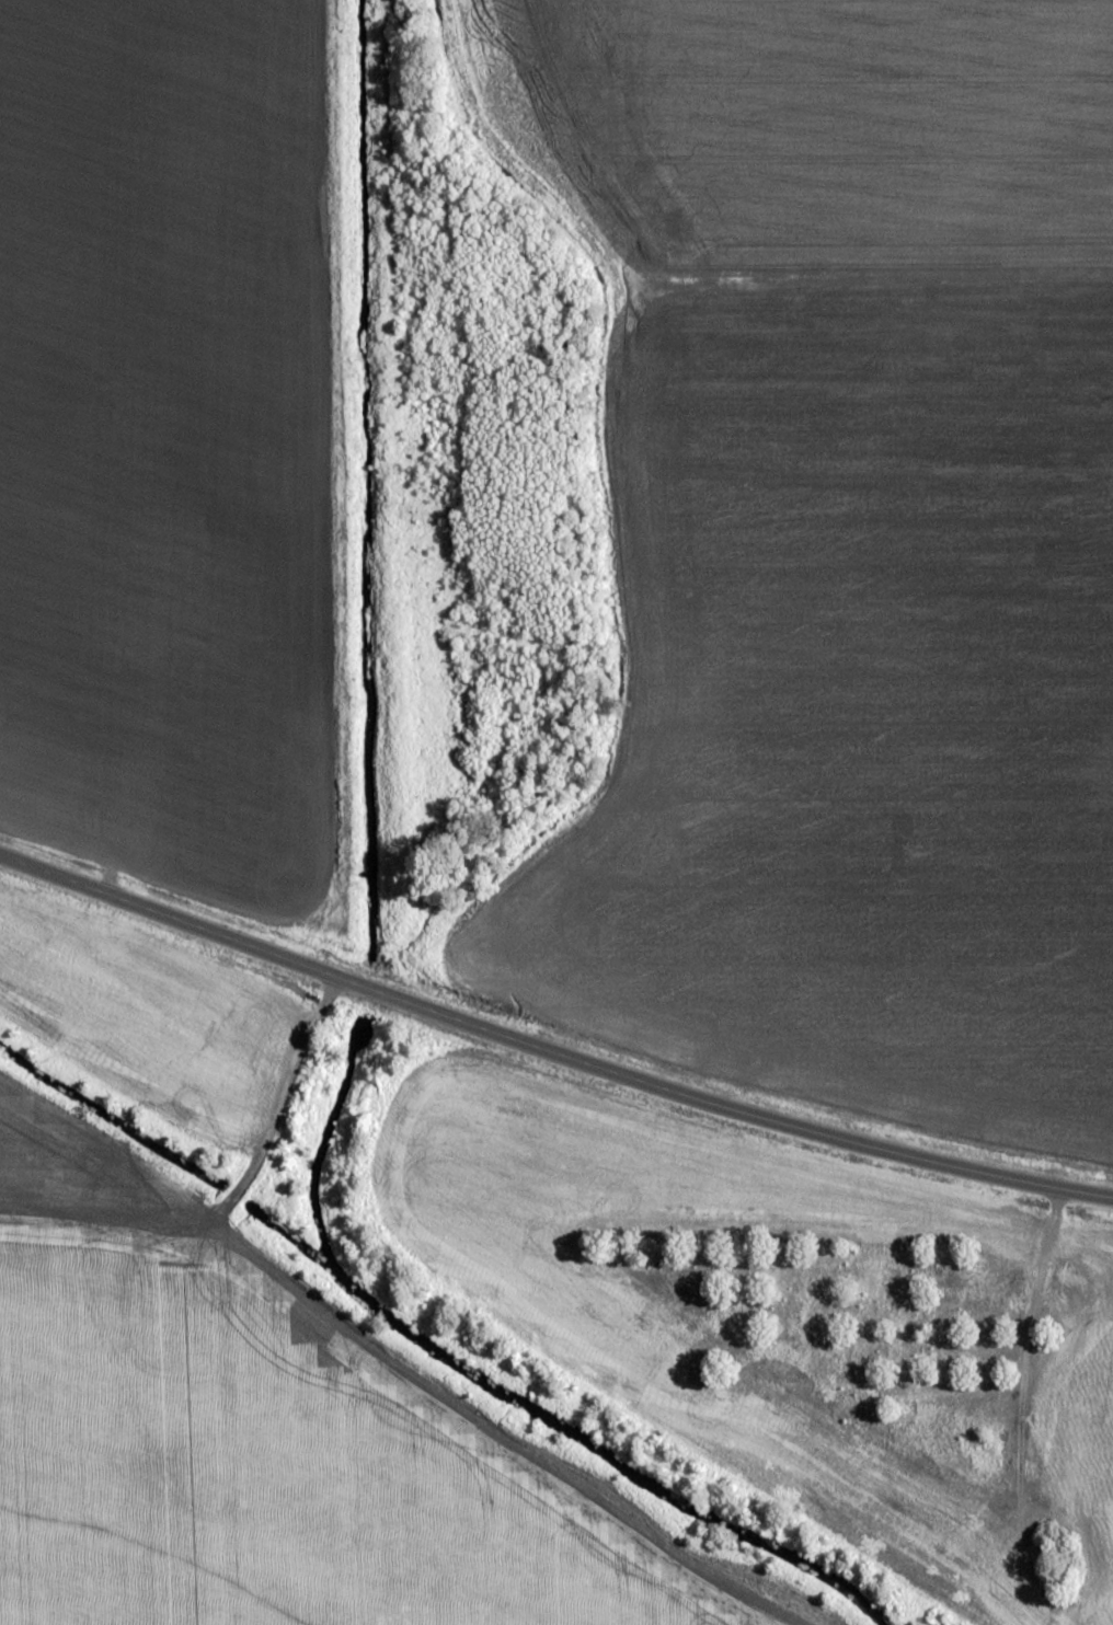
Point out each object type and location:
road: (548, 1050)

